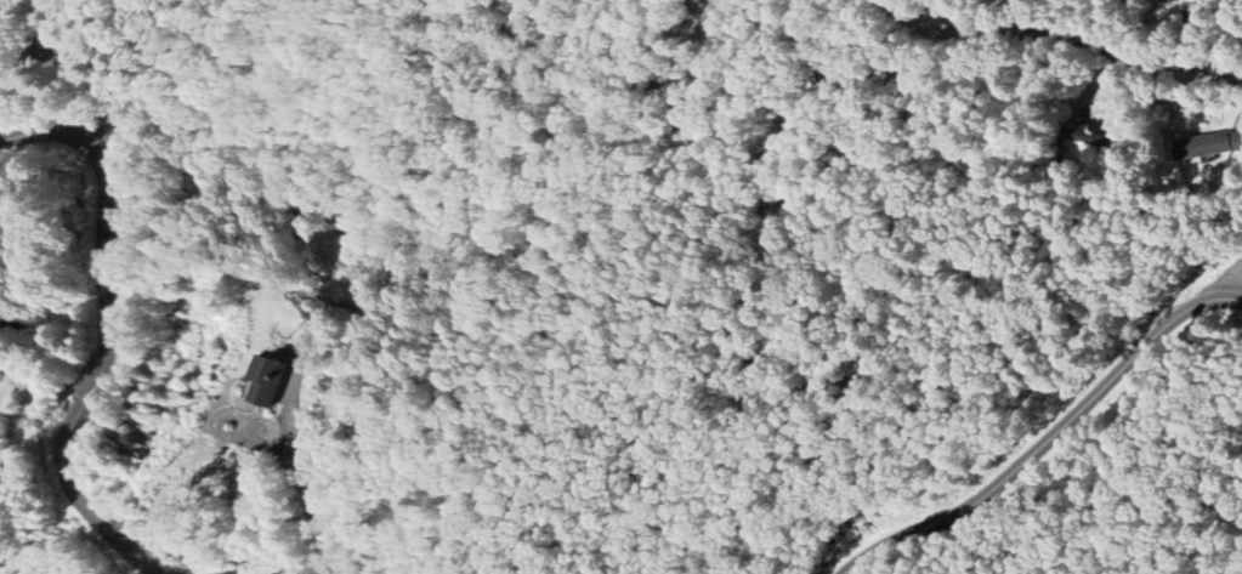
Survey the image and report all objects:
building: (1168, 0)
road: (1231, 16)
road: (945, 17)
road: (1061, 33)
building: (1207, 146)
road: (1234, 284)
road: (102, 333)
building: (263, 380)
road: (44, 382)
road: (1048, 438)
road: (306, 495)

